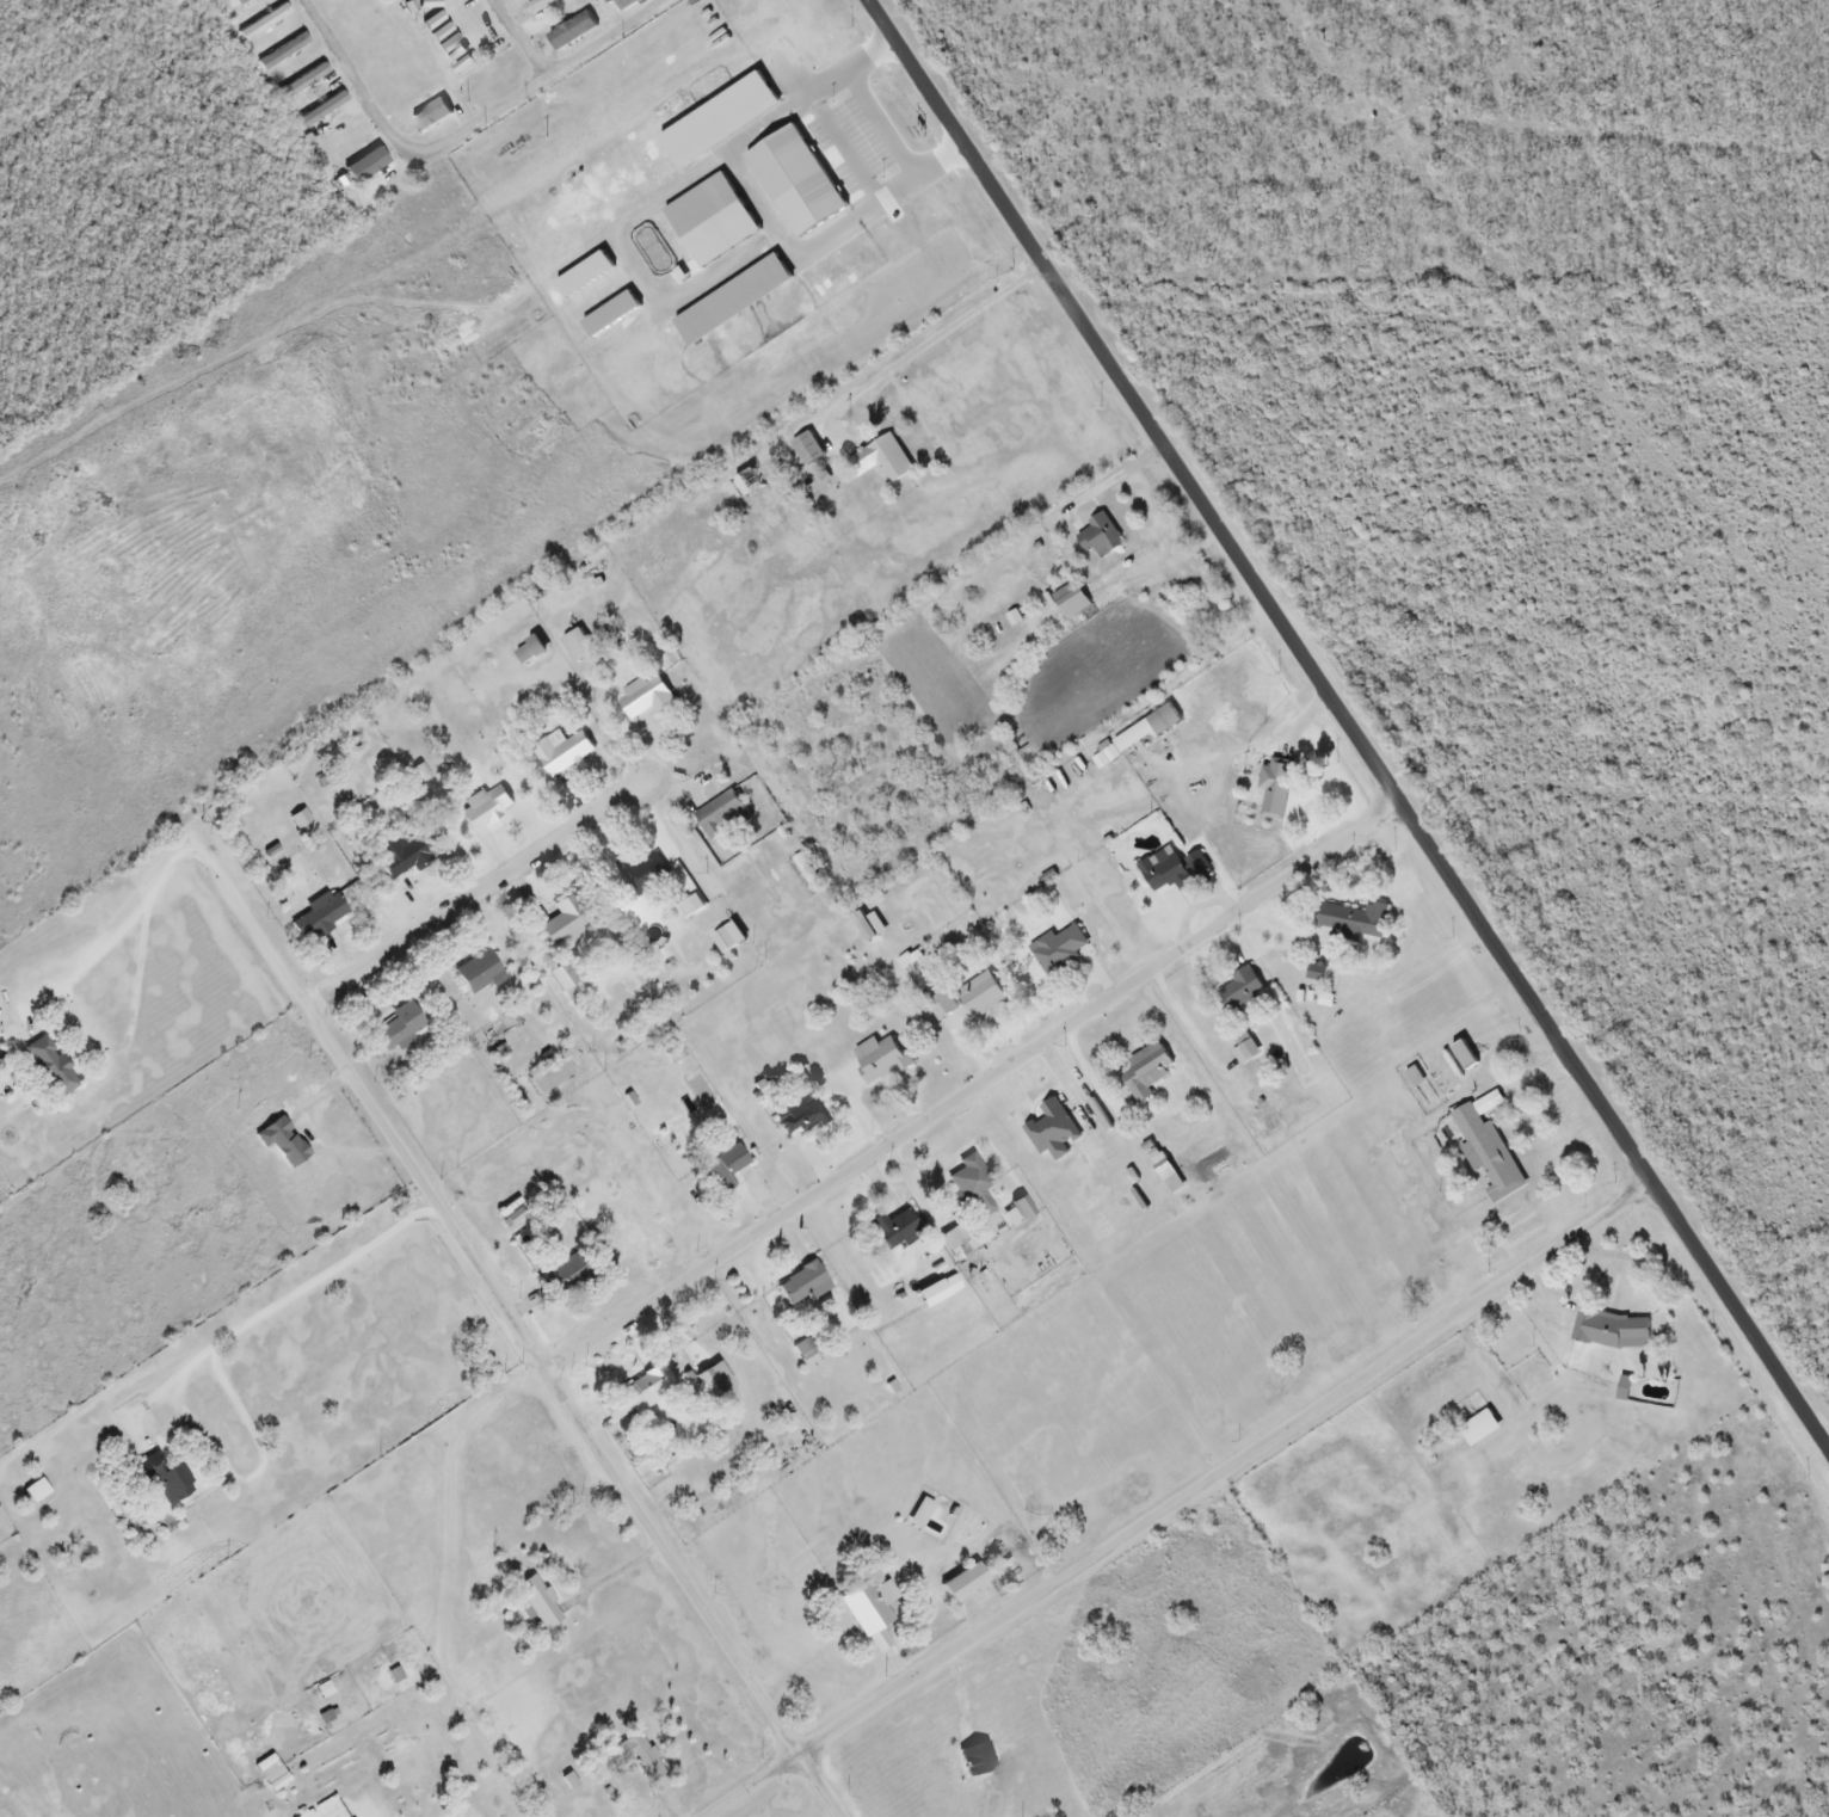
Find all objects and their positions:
building: (239, 2)
building: (534, 4)
building: (624, 4)
building: (430, 18)
building: (261, 23)
building: (437, 30)
building: (572, 32)
building: (445, 41)
road: (513, 41)
building: (454, 51)
building: (282, 53)
building: (485, 79)
building: (301, 82)
building: (312, 109)
building: (430, 116)
road: (458, 131)
road: (936, 335)
road: (1127, 401)
building: (807, 449)
building: (883, 460)
building: (749, 483)
building: (1098, 538)
building: (1070, 600)
building: (578, 647)
building: (529, 652)
building: (646, 698)
building: (1146, 731)
building: (560, 753)
building: (1276, 790)
building: (484, 808)
building: (721, 817)
building: (400, 857)
building: (1197, 864)
building: (1163, 873)
building: (643, 875)
building: (805, 875)
road: (474, 897)
road: (129, 917)
building: (318, 918)
building: (1353, 920)
building: (564, 923)
building: (870, 928)
building: (1058, 950)
building: (476, 974)
building: (567, 979)
building: (1239, 992)
building: (981, 996)
building: (941, 1008)
road: (1189, 1024)
building: (398, 1028)
building: (1245, 1051)
building: (1464, 1057)
building: (880, 1061)
building: (48, 1068)
road: (1090, 1072)
building: (1146, 1072)
building: (549, 1077)
road: (969, 1089)
building: (799, 1117)
road: (1619, 1129)
building: (1052, 1131)
building: (1486, 1157)
building: (723, 1164)
building: (968, 1187)
building: (894, 1228)
building: (572, 1244)
building: (801, 1286)
road: (290, 1298)
road: (509, 1317)
building: (1611, 1331)
building: (634, 1396)
building: (1479, 1430)
building: (161, 1480)
building: (35, 1493)
road: (1175, 1514)
building: (918, 1515)
building: (537, 1602)
building: (868, 1608)
building: (640, 1759)
building: (974, 1760)
building: (270, 1773)
building: (344, 1816)

